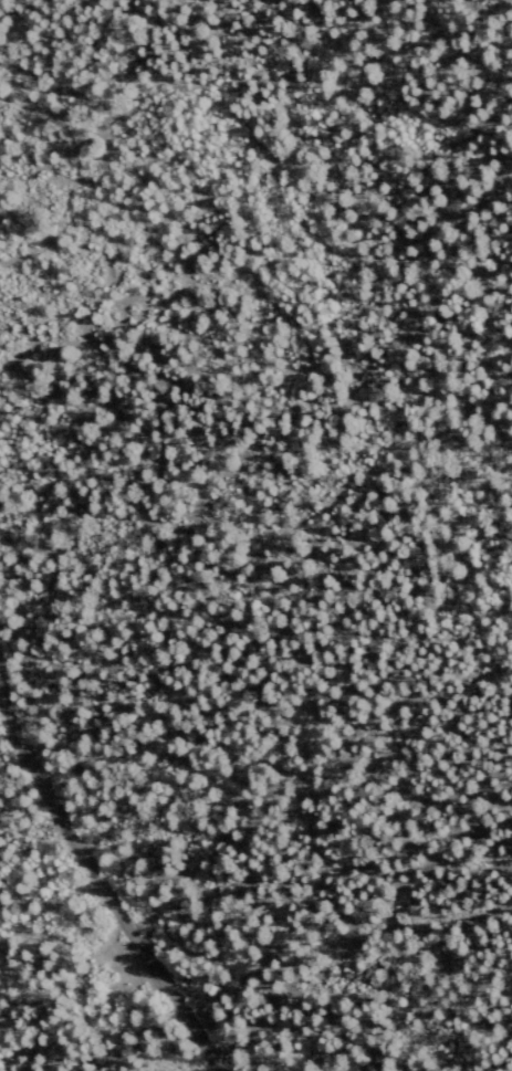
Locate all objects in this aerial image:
road: (119, 904)

